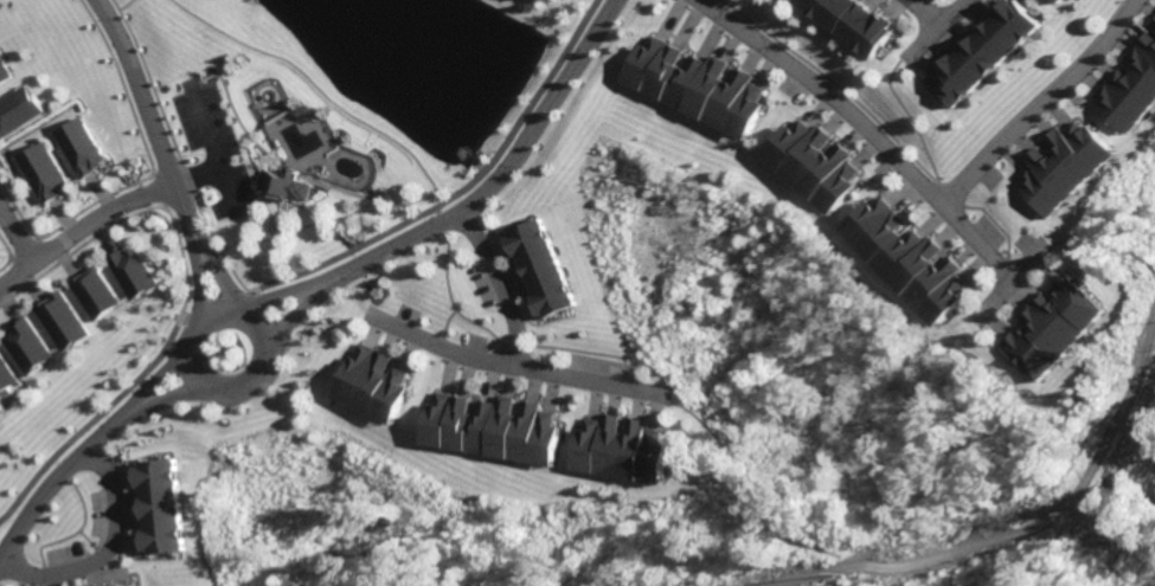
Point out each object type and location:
building: (1057, 1)
road: (128, 5)
road: (916, 8)
road: (920, 11)
building: (849, 22)
building: (1151, 22)
road: (932, 27)
building: (981, 50)
building: (4, 69)
road: (195, 81)
building: (1130, 81)
building: (688, 82)
road: (830, 83)
road: (122, 84)
road: (317, 90)
parking lot: (787, 94)
road: (1038, 103)
road: (531, 107)
building: (17, 108)
road: (147, 115)
road: (238, 115)
road: (907, 116)
road: (860, 125)
building: (77, 146)
road: (175, 147)
road: (212, 147)
building: (807, 162)
building: (1065, 165)
building: (38, 170)
road: (194, 174)
road: (506, 175)
building: (285, 183)
road: (156, 189)
road: (351, 192)
road: (945, 194)
road: (244, 200)
road: (89, 201)
road: (439, 208)
road: (340, 215)
road: (13, 217)
road: (444, 221)
road: (994, 221)
road: (81, 225)
parking lot: (987, 228)
road: (15, 237)
road: (261, 238)
road: (1105, 243)
road: (76, 244)
parking lot: (1025, 244)
road: (18, 247)
road: (2, 252)
building: (899, 255)
road: (175, 258)
road: (2, 260)
road: (317, 263)
building: (547, 266)
road: (1008, 266)
building: (128, 271)
road: (212, 271)
road: (1009, 275)
road: (192, 276)
road: (499, 286)
building: (94, 292)
road: (282, 294)
road: (347, 298)
road: (449, 301)
parking lot: (403, 314)
road: (299, 316)
building: (60, 321)
building: (1052, 323)
road: (442, 326)
parking lot: (469, 343)
building: (26, 344)
road: (512, 344)
road: (580, 350)
road: (514, 365)
parking lot: (602, 367)
road: (628, 374)
building: (6, 380)
road: (254, 381)
building: (367, 381)
road: (147, 382)
road: (156, 403)
road: (92, 414)
building: (488, 427)
building: (618, 449)
road: (47, 458)
road: (56, 469)
road: (50, 474)
road: (746, 488)
building: (158, 504)
parking lot: (95, 517)
road: (65, 532)
road: (84, 543)
road: (105, 548)
parking lot: (62, 556)
building: (114, 584)
building: (128, 585)
building: (130, 585)

